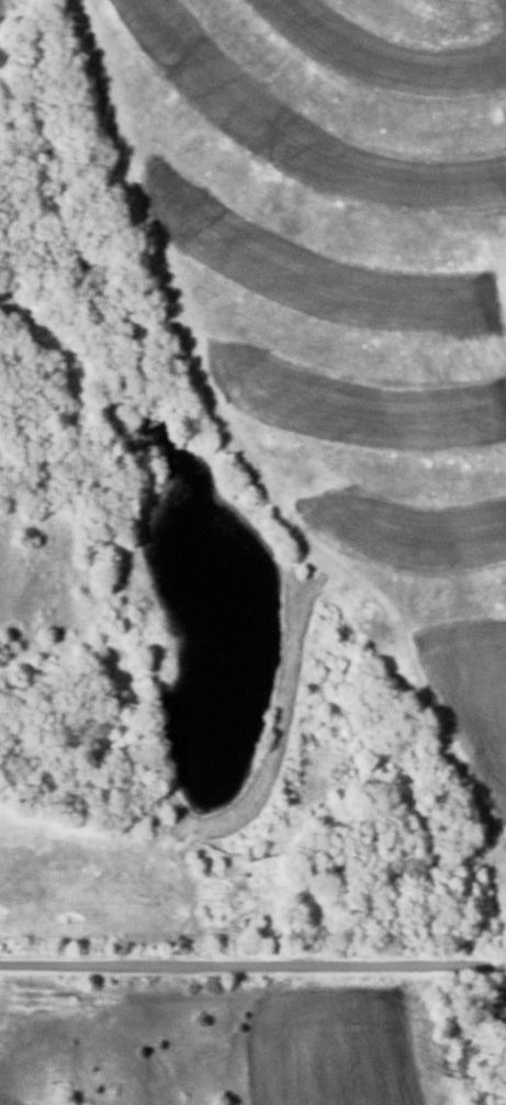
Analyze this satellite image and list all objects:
building: (337, 863)
road: (252, 963)

